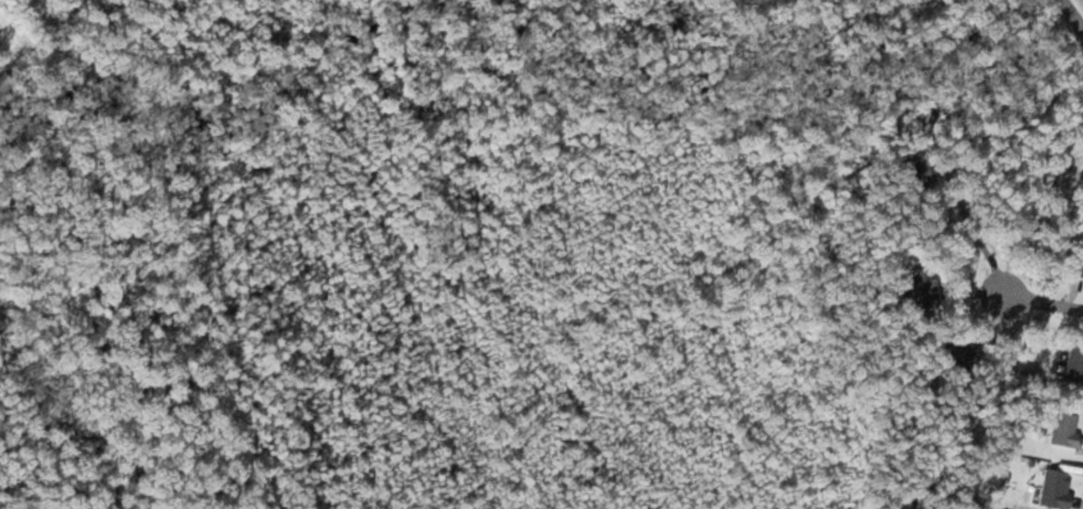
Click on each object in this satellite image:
road: (1071, 15)
building: (1080, 263)
building: (924, 288)
road: (1039, 300)
building: (953, 351)
building: (1073, 364)
building: (1063, 431)
building: (1054, 489)

